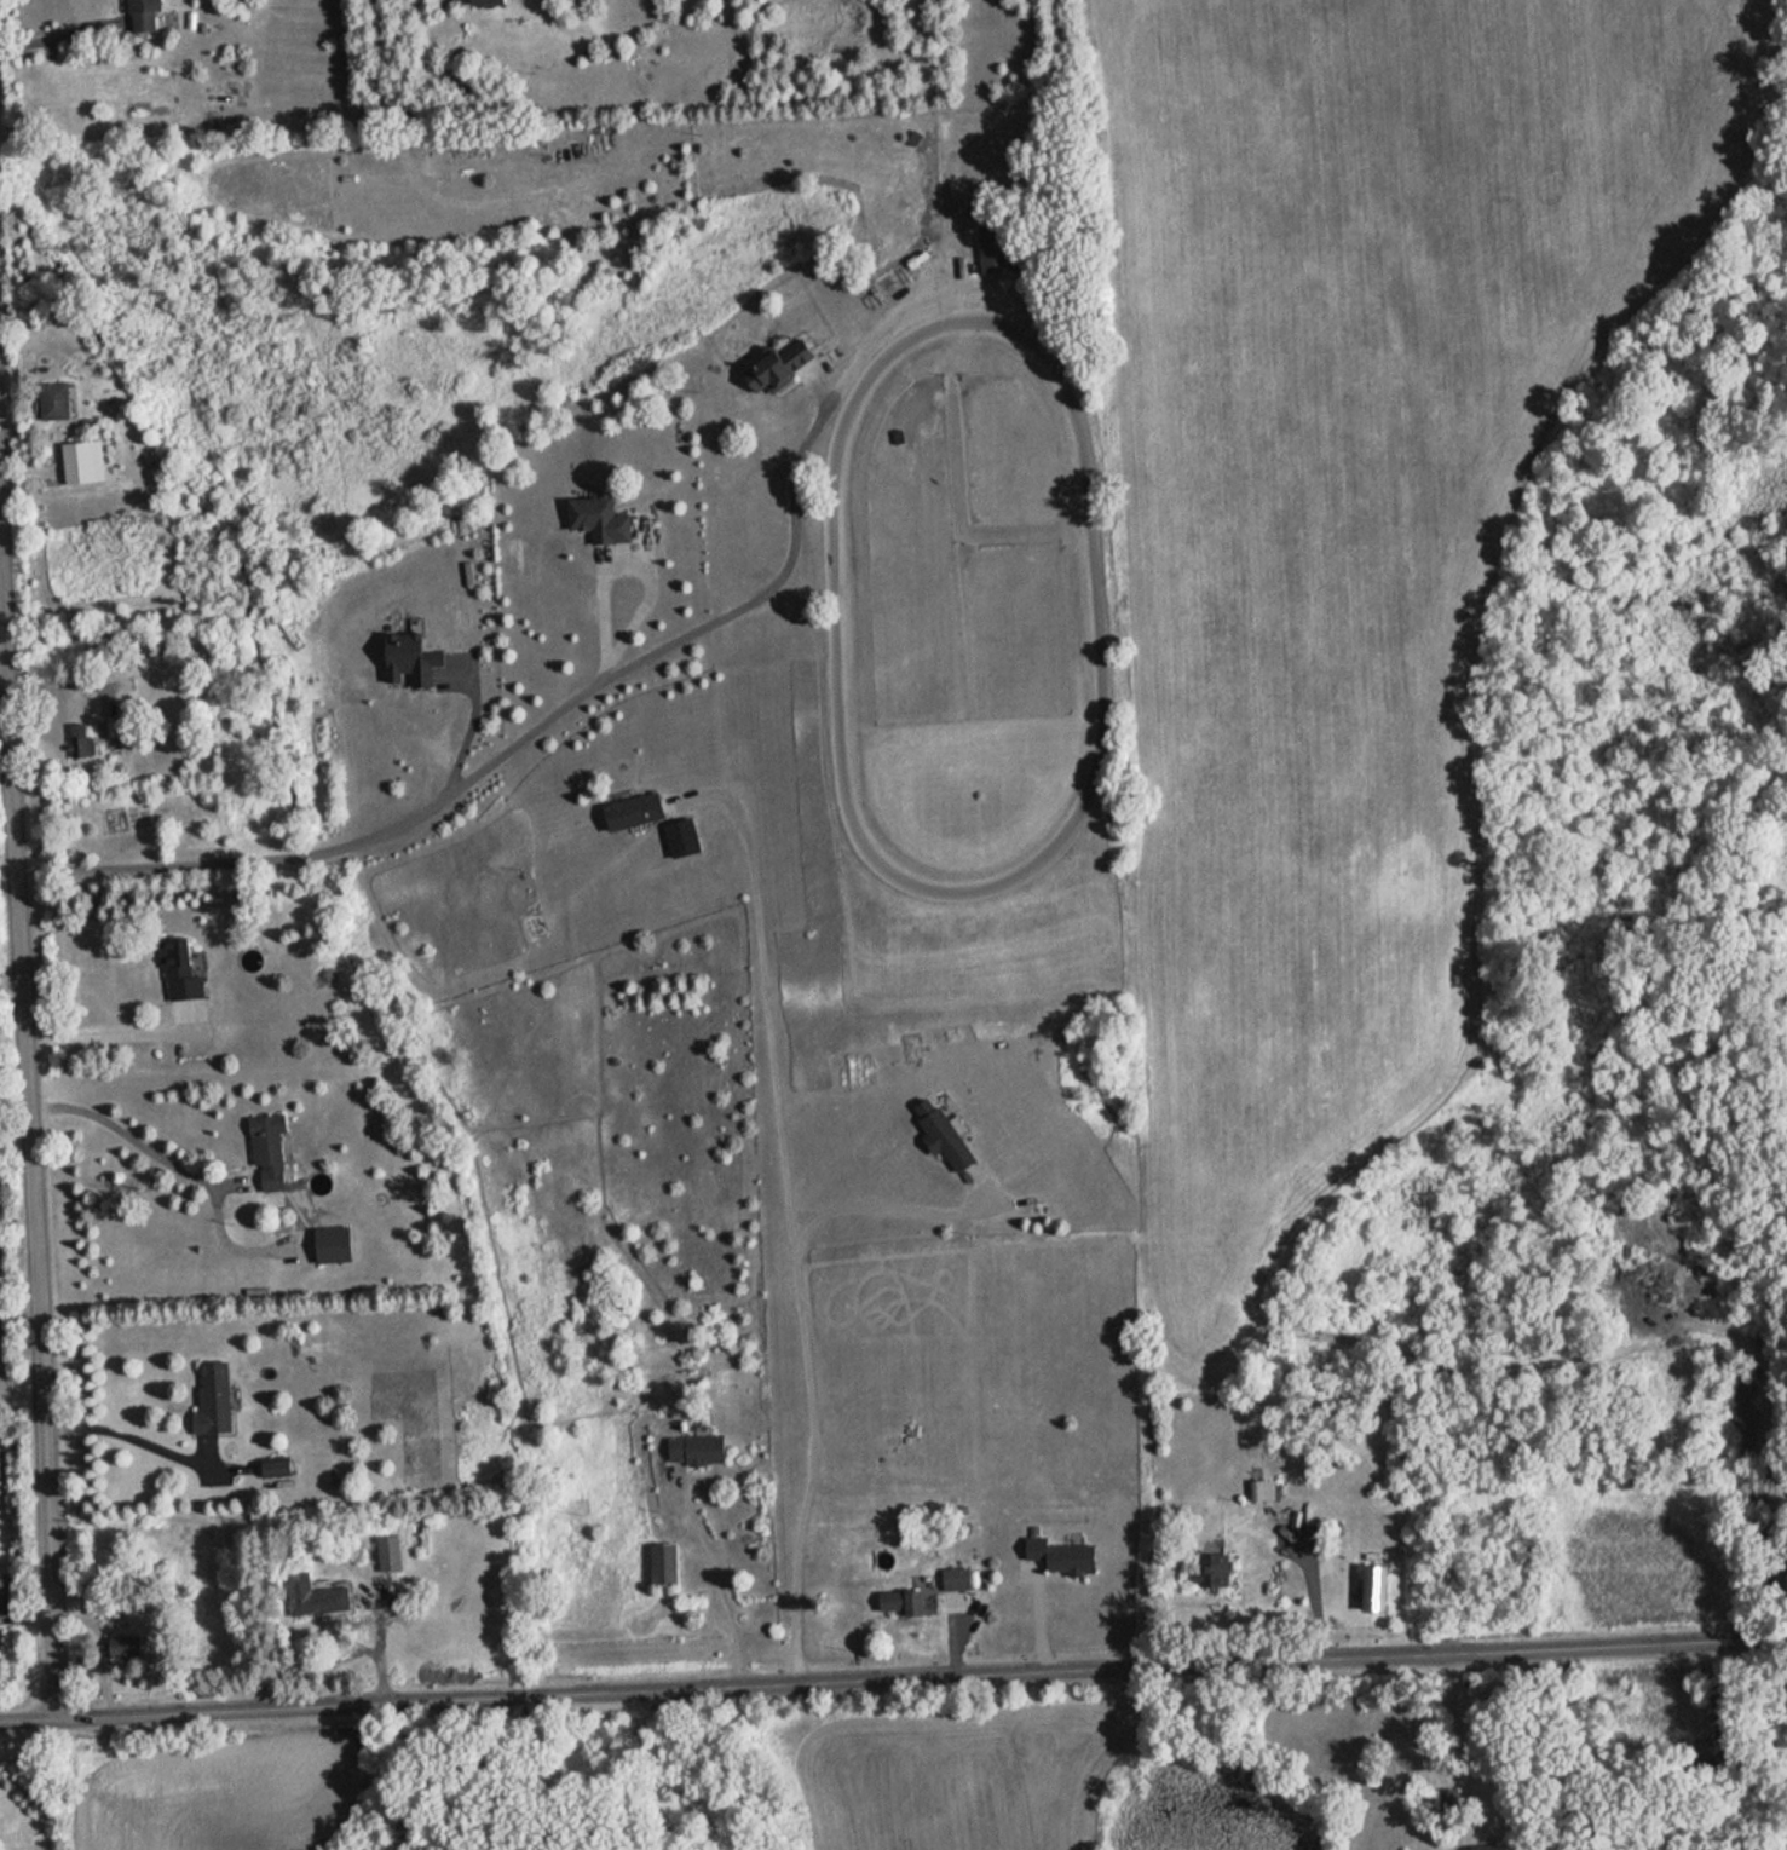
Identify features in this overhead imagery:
building: (490, 2)
building: (148, 15)
road: (57, 35)
building: (996, 250)
building: (772, 373)
building: (56, 400)
building: (603, 519)
road: (0, 563)
road: (71, 680)
road: (589, 685)
road: (4, 696)
building: (82, 739)
building: (639, 809)
building: (686, 836)
road: (7, 863)
building: (183, 968)
road: (108, 1034)
road: (28, 1128)
road: (125, 1133)
building: (947, 1133)
building: (273, 1152)
road: (880, 1209)
road: (792, 1237)
building: (215, 1396)
road: (121, 1424)
building: (699, 1448)
building: (391, 1551)
building: (1065, 1554)
building: (665, 1563)
road: (717, 1574)
building: (959, 1578)
building: (1378, 1586)
building: (318, 1596)
road: (1314, 1596)
building: (907, 1602)
road: (25, 1620)
building: (132, 1643)
road: (893, 1679)
road: (1463, 1752)
building: (1492, 1846)

